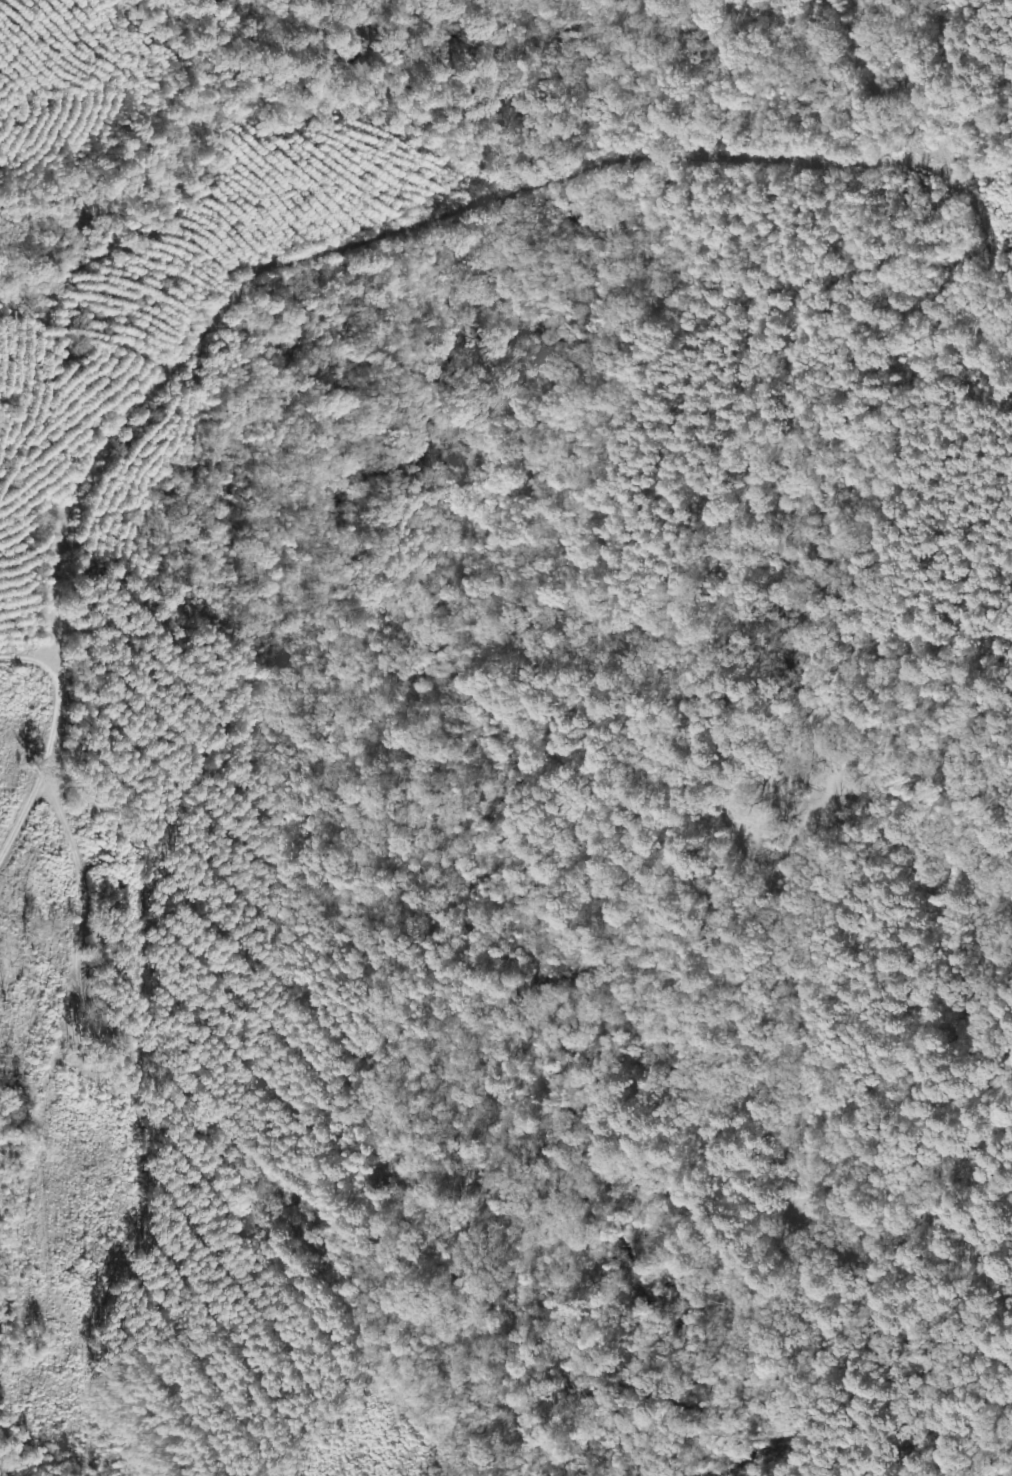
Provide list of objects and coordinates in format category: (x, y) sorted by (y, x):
road: (838, 59)
road: (971, 262)
road: (51, 672)
road: (17, 1128)

